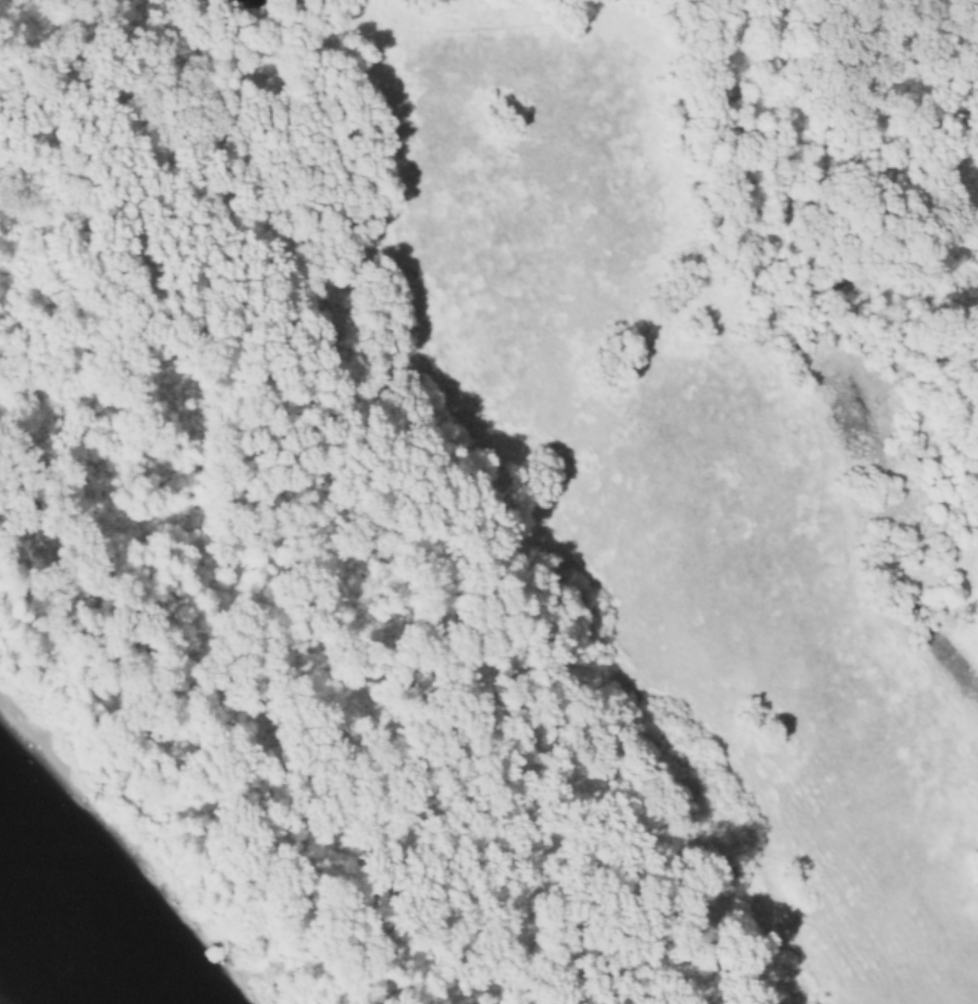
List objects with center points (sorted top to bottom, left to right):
river: (18, 982)

